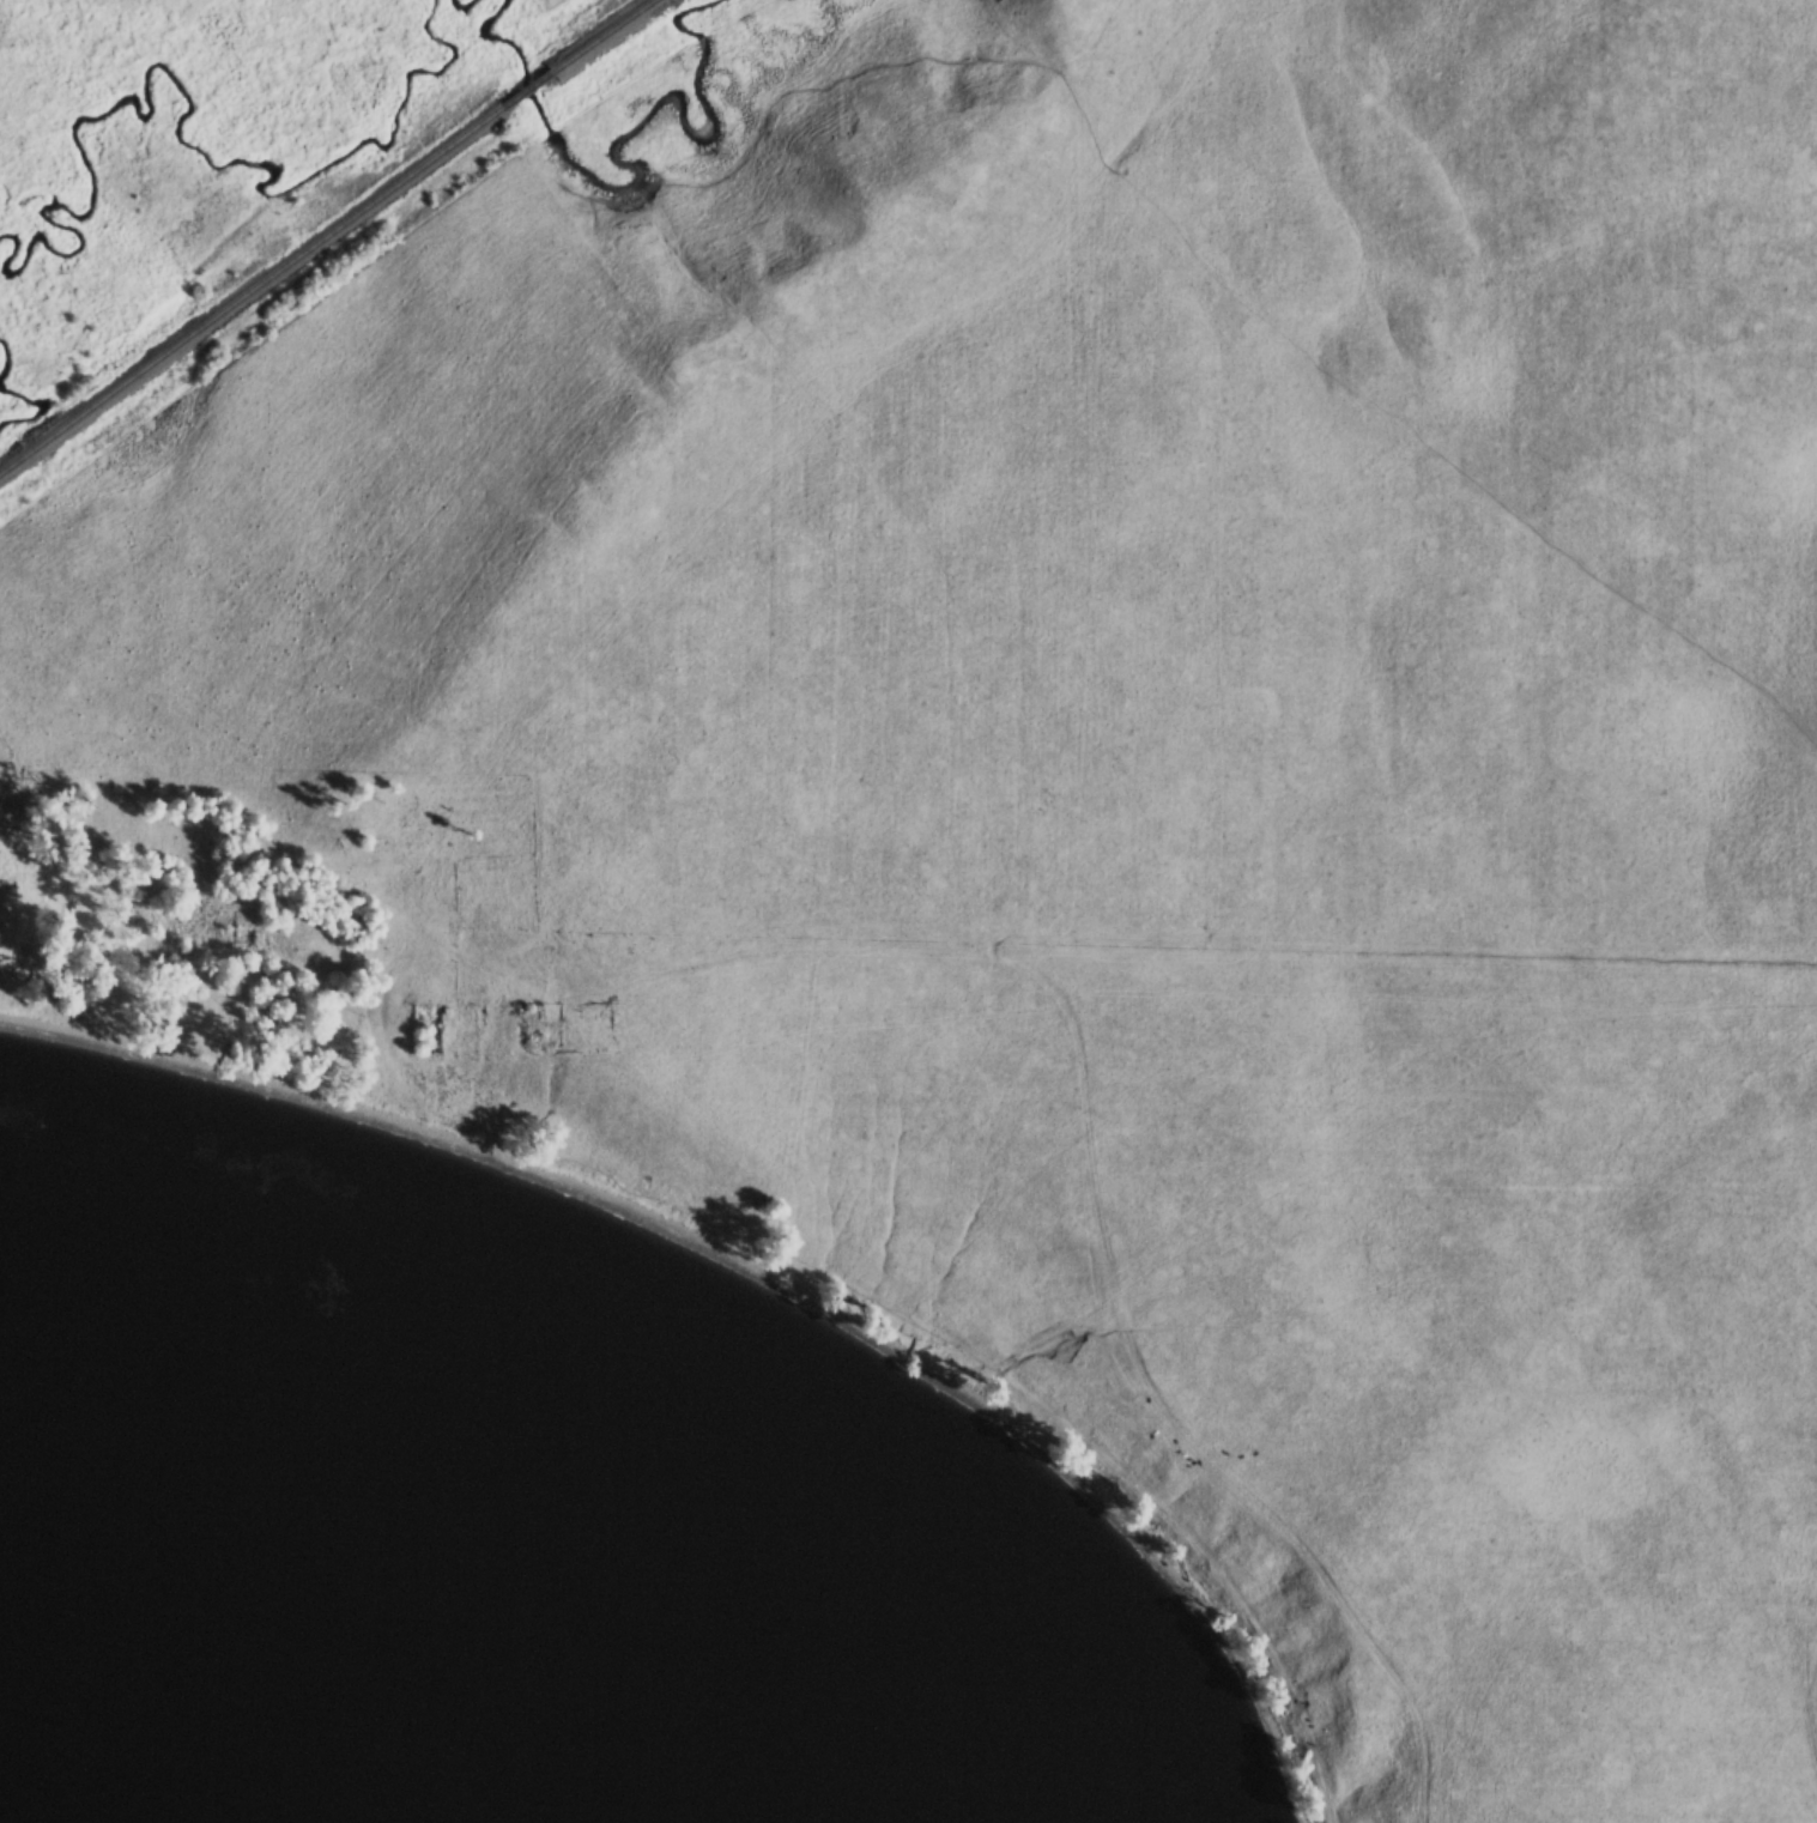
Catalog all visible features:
river: (850, 0)
river: (393, 91)
railway: (297, 218)
river: (1, 399)

